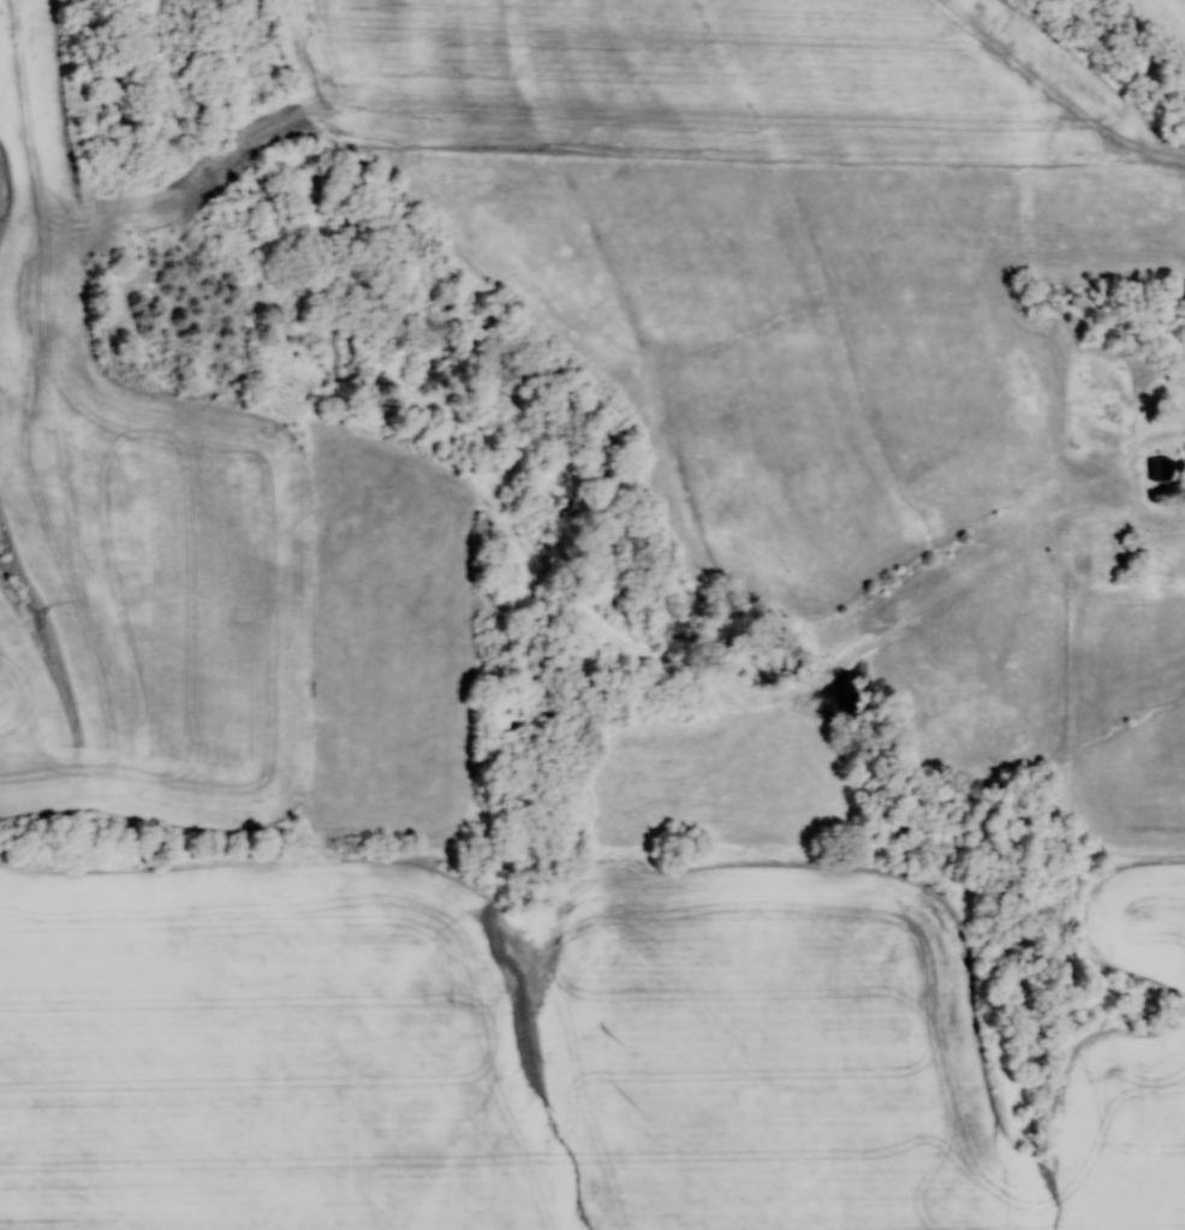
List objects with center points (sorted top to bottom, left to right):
building: (1160, 469)

